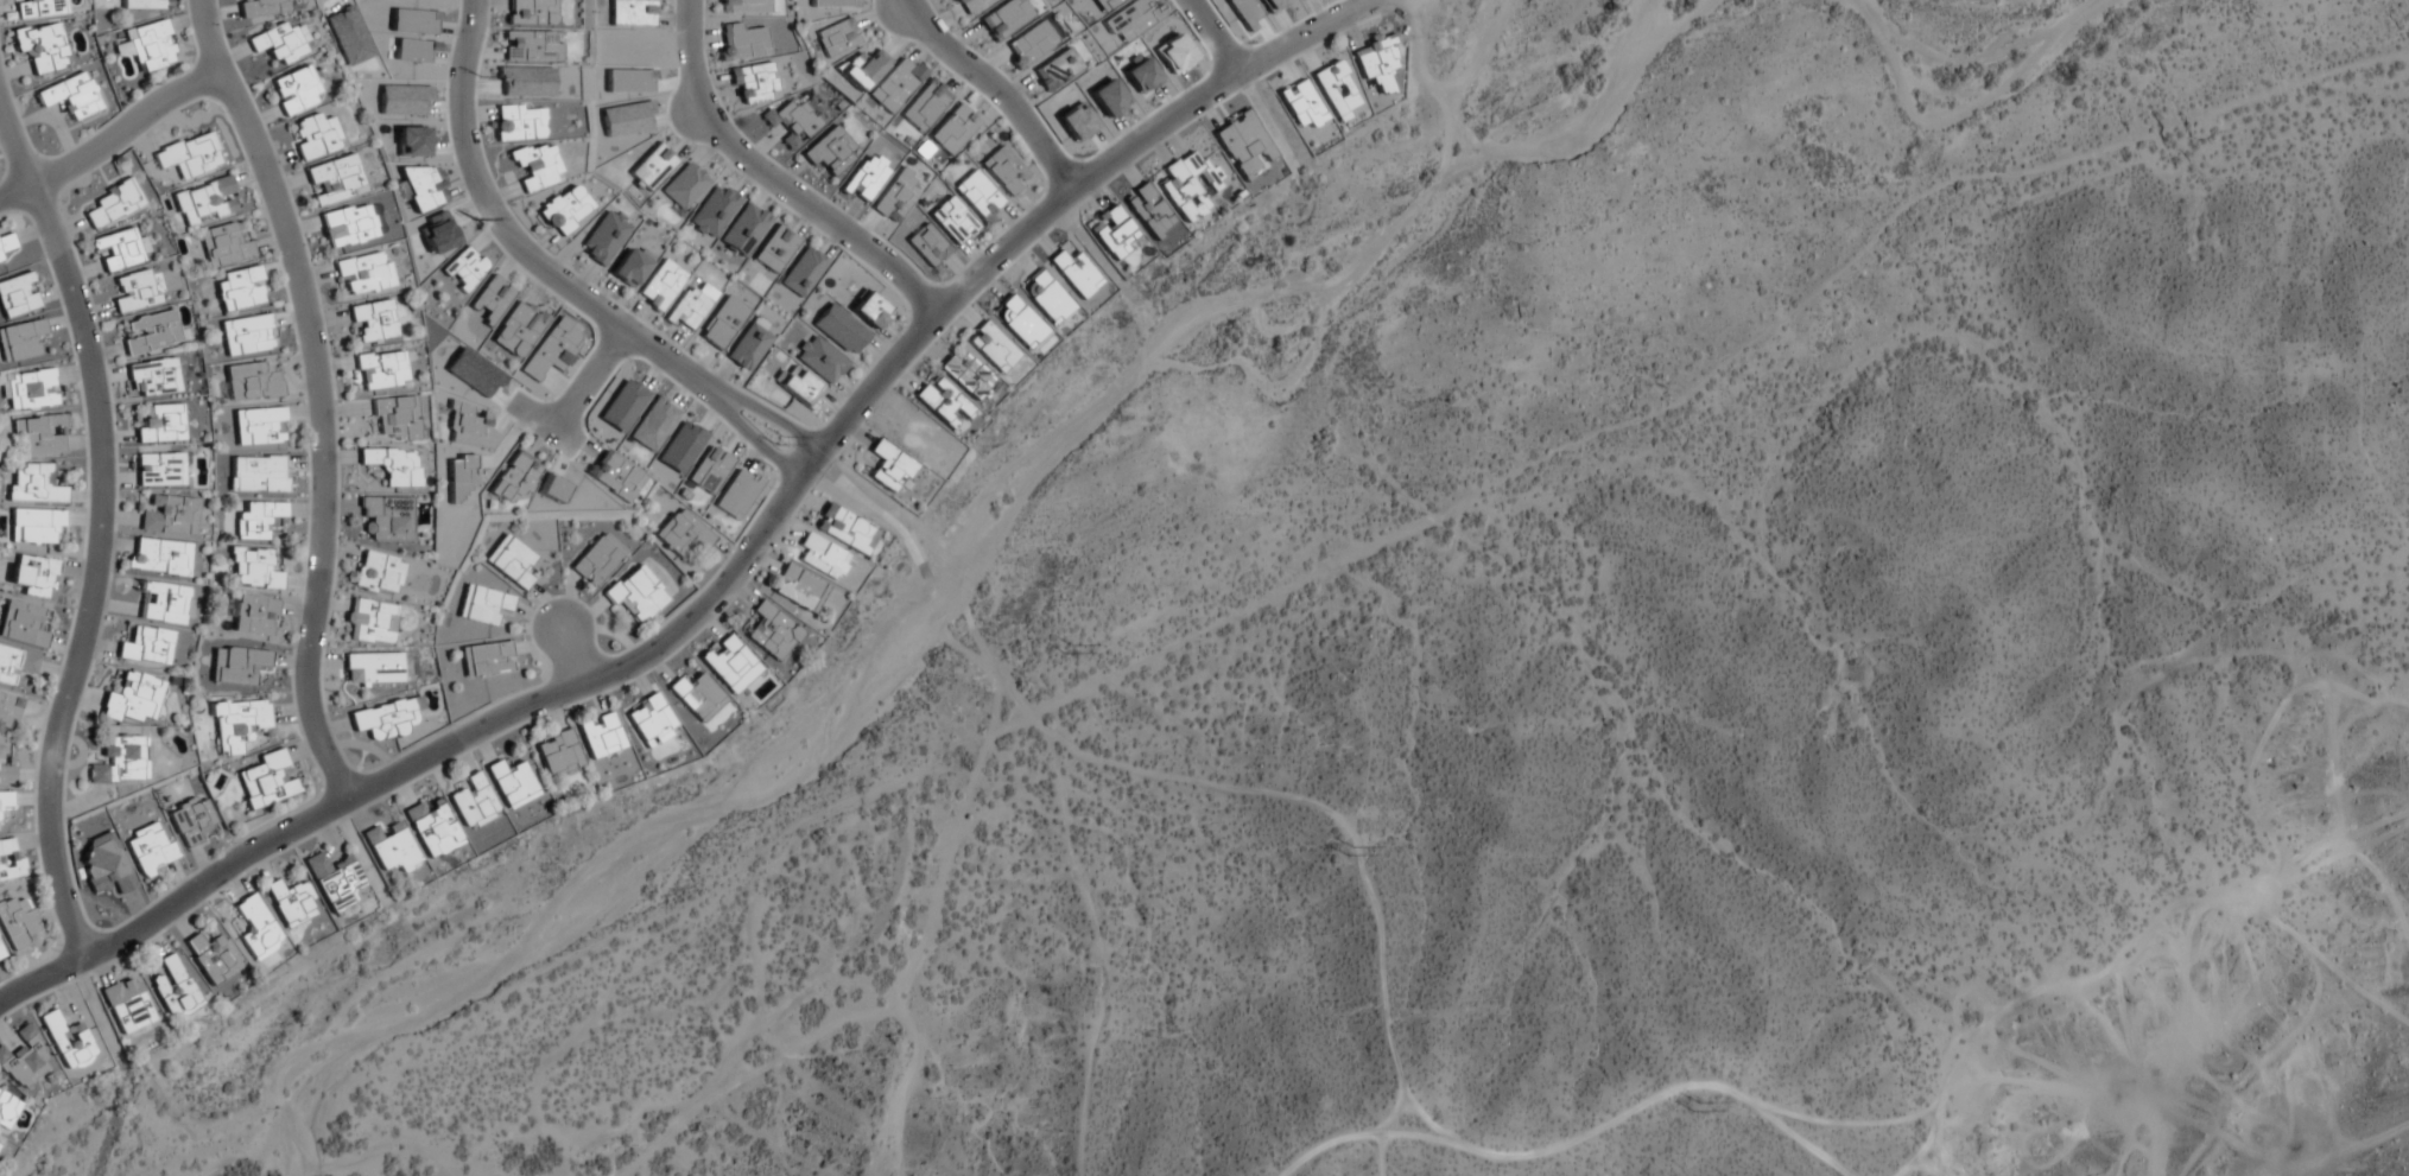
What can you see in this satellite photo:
building: (141, 5)
building: (966, 5)
building: (262, 7)
building: (39, 8)
building: (530, 12)
building: (587, 14)
road: (207, 37)
building: (836, 38)
road: (1207, 38)
building: (280, 43)
building: (42, 46)
building: (150, 46)
building: (1376, 63)
power tower: (469, 78)
building: (754, 83)
building: (895, 83)
road: (988, 89)
building: (296, 90)
building: (1336, 90)
building: (71, 96)
building: (793, 119)
building: (518, 122)
building: (316, 136)
road: (110, 145)
building: (830, 152)
road: (15, 155)
building: (189, 155)
building: (537, 166)
building: (1004, 171)
road: (769, 176)
building: (866, 178)
building: (335, 179)
building: (1188, 184)
building: (978, 196)
building: (205, 202)
building: (113, 204)
building: (564, 210)
building: (1150, 211)
building: (951, 220)
power tower: (462, 222)
building: (348, 225)
building: (1112, 231)
building: (927, 246)
building: (224, 247)
building: (121, 249)
building: (0, 260)
building: (363, 272)
building: (1076, 273)
road: (547, 285)
building: (660, 286)
building: (240, 290)
building: (137, 292)
building: (18, 295)
building: (1047, 298)
building: (691, 306)
building: (373, 322)
building: (1019, 323)
building: (152, 332)
building: (248, 335)
building: (21, 341)
building: (991, 348)
building: (381, 370)
building: (966, 376)
building: (153, 377)
building: (251, 382)
road: (584, 383)
building: (28, 389)
building: (942, 402)
building: (397, 418)
building: (161, 425)
building: (259, 426)
road: (322, 433)
building: (39, 434)
power tower: (773, 440)
building: (393, 465)
building: (888, 468)
building: (159, 470)
building: (258, 473)
building: (515, 479)
building: (33, 484)
building: (169, 516)
building: (387, 519)
building: (256, 521)
building: (34, 526)
building: (843, 528)
building: (680, 534)
building: (159, 557)
building: (597, 560)
road: (741, 561)
building: (512, 564)
building: (253, 570)
building: (379, 572)
road: (95, 573)
building: (33, 576)
building: (798, 589)
building: (636, 595)
building: (163, 603)
building: (483, 605)
building: (255, 616)
building: (369, 621)
building: (21, 624)
building: (773, 631)
building: (147, 646)
power tower: (1061, 649)
road: (564, 659)
building: (487, 660)
building: (730, 665)
building: (15, 666)
building: (237, 666)
building: (376, 668)
building: (697, 697)
building: (133, 699)
building: (7, 712)
building: (648, 718)
building: (383, 719)
building: (237, 724)
building: (600, 735)
building: (558, 754)
building: (120, 762)
building: (6, 775)
building: (267, 781)
building: (512, 783)
building: (6, 800)
building: (474, 803)
building: (191, 820)
building: (432, 827)
road: (1340, 829)
building: (150, 848)
building: (391, 848)
power tower: (1339, 857)
building: (9, 859)
building: (106, 864)
building: (334, 879)
building: (291, 903)
building: (19, 923)
building: (256, 928)
street lamp: (55, 951)
building: (1, 954)
building: (213, 956)
building: (173, 989)
building: (128, 1007)
building: (68, 1041)
building: (25, 1060)
power tower: (1693, 1107)
building: (7, 1110)
road: (1391, 1111)
road: (1928, 1133)
road: (1577, 1139)
road: (2348, 1152)
road: (1380, 1155)

